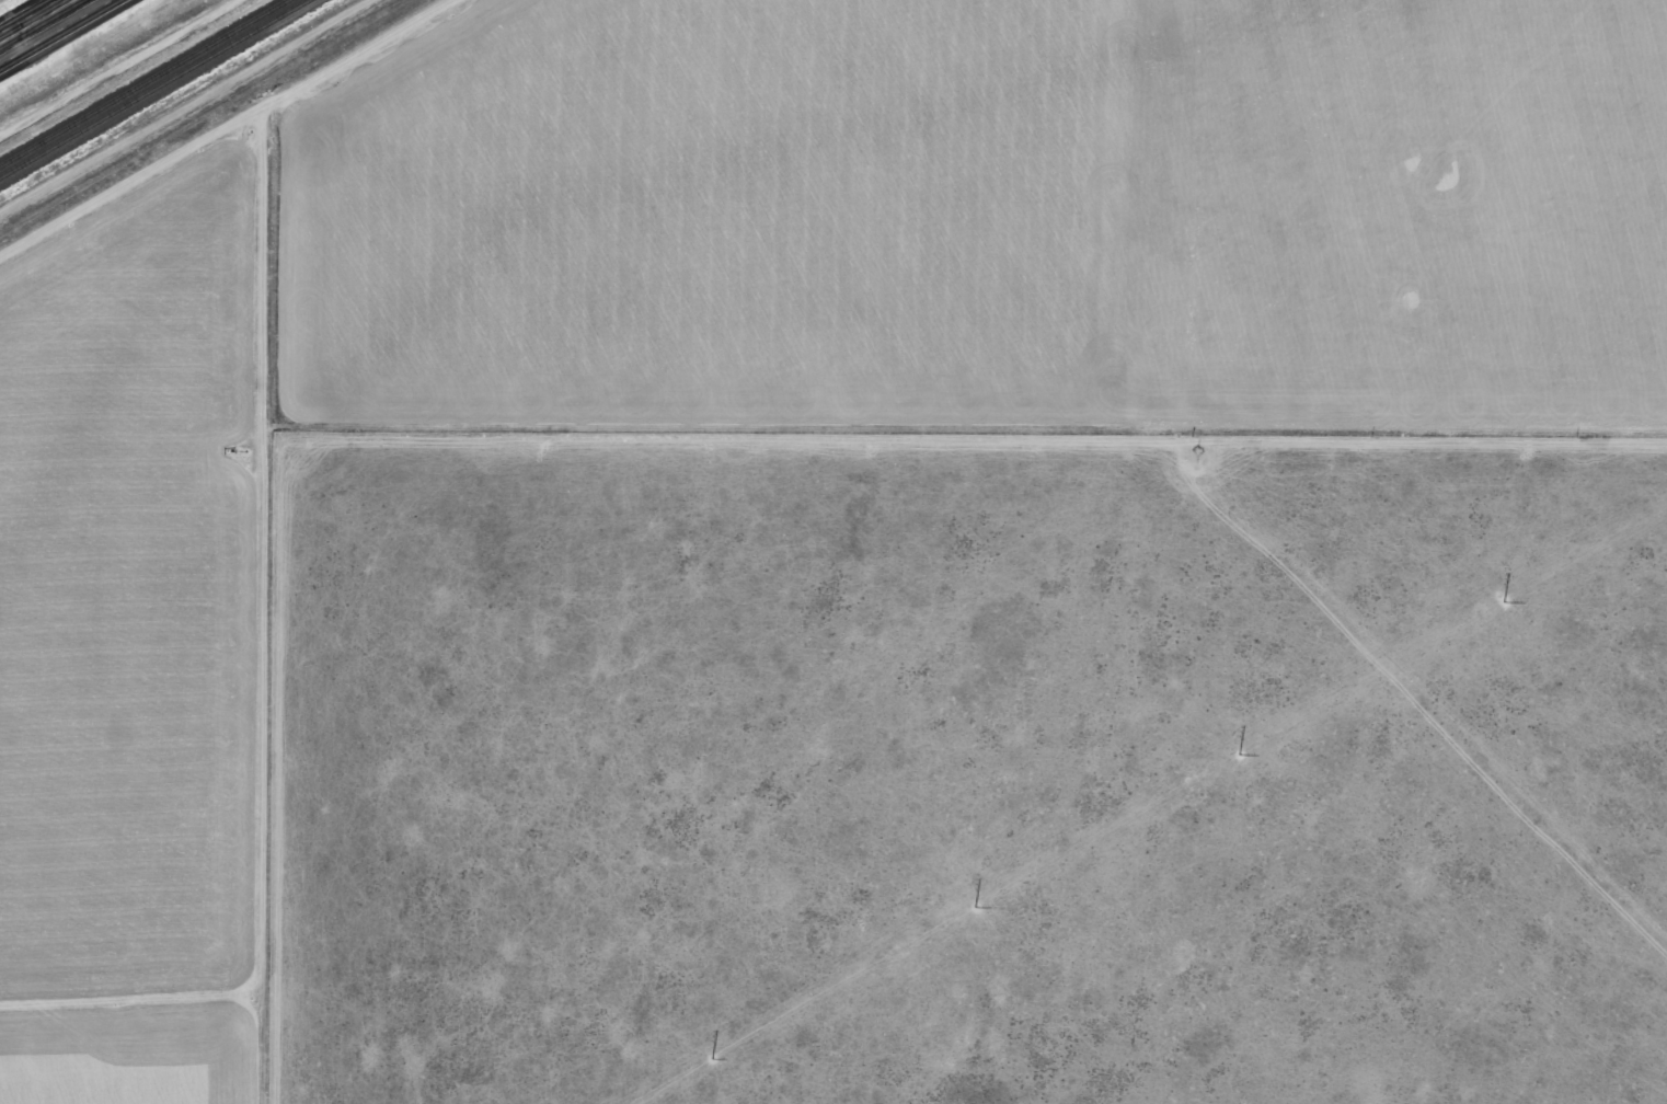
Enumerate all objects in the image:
road: (43, 24)
railway: (143, 83)
railway: (156, 89)
power tower: (1481, 612)
power tower: (1192, 780)
power tower: (899, 951)

